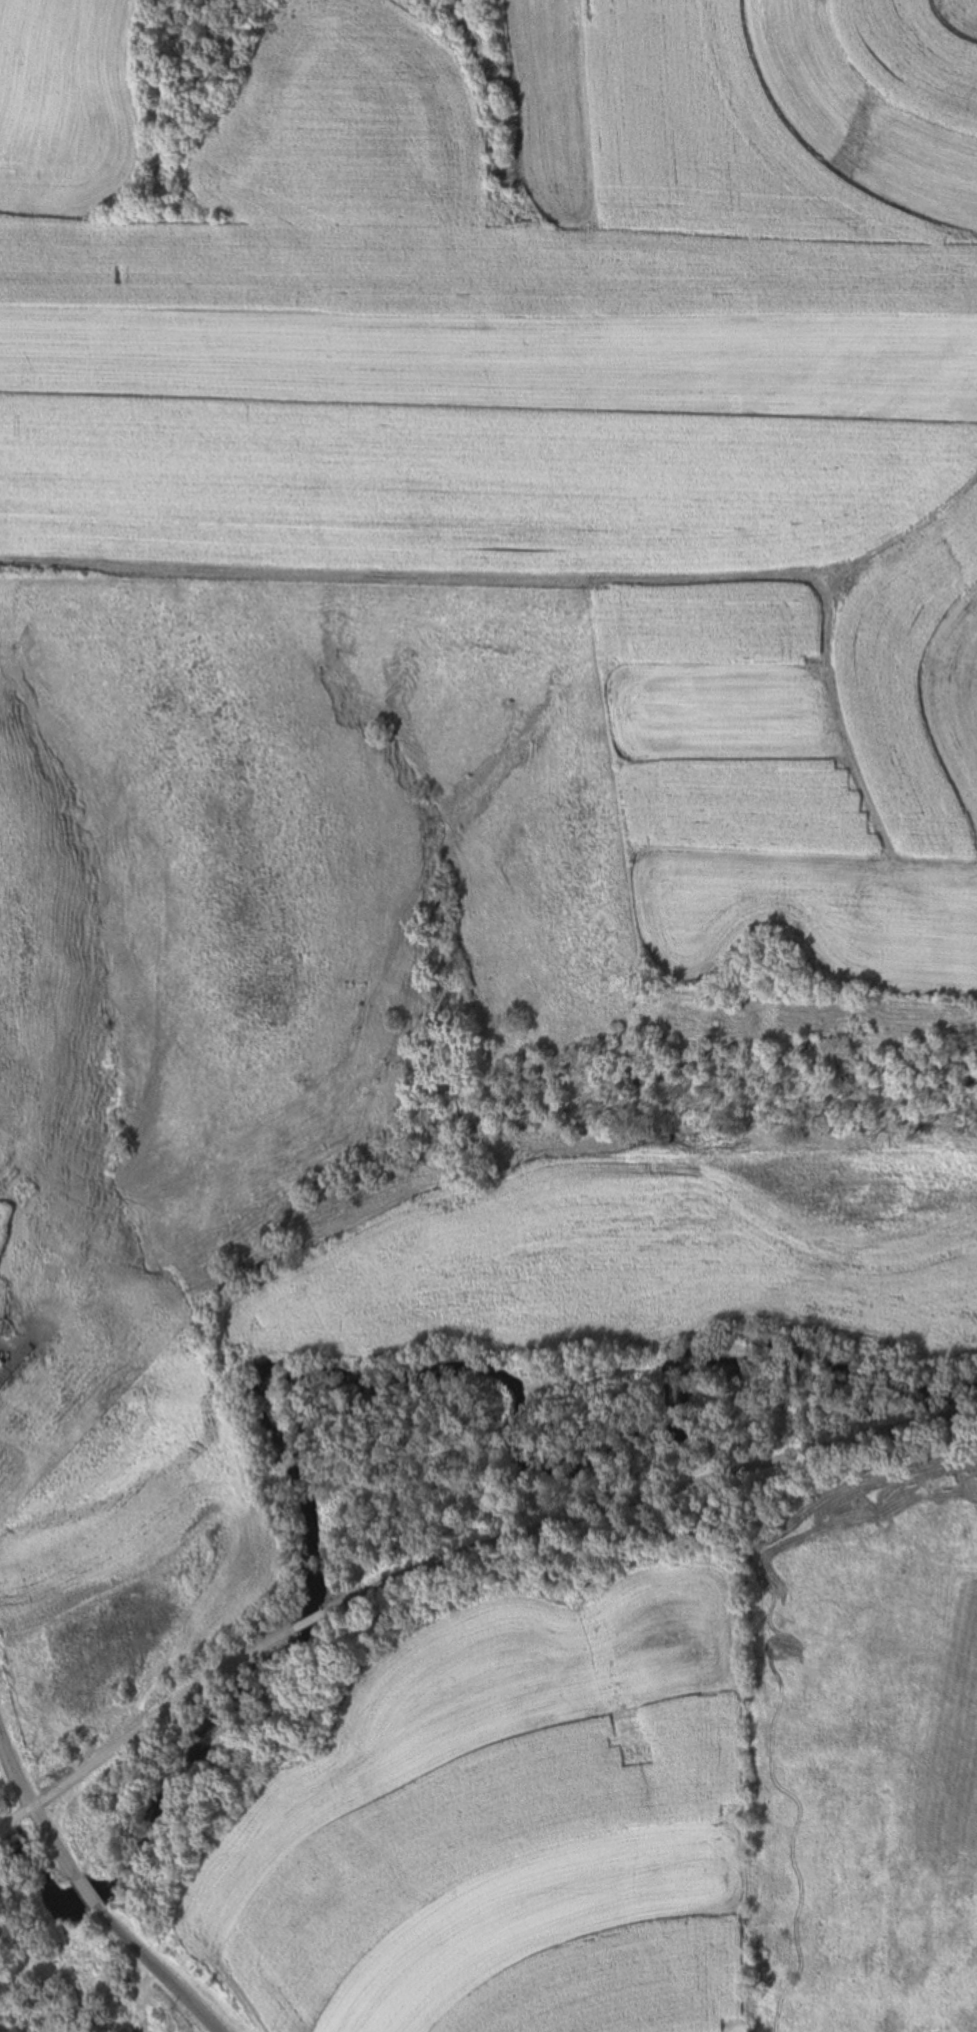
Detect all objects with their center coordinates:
river: (332, 1377)
road: (647, 1498)
road: (310, 1620)
road: (145, 1727)
road: (31, 1804)
road: (87, 1891)
road: (158, 1969)

